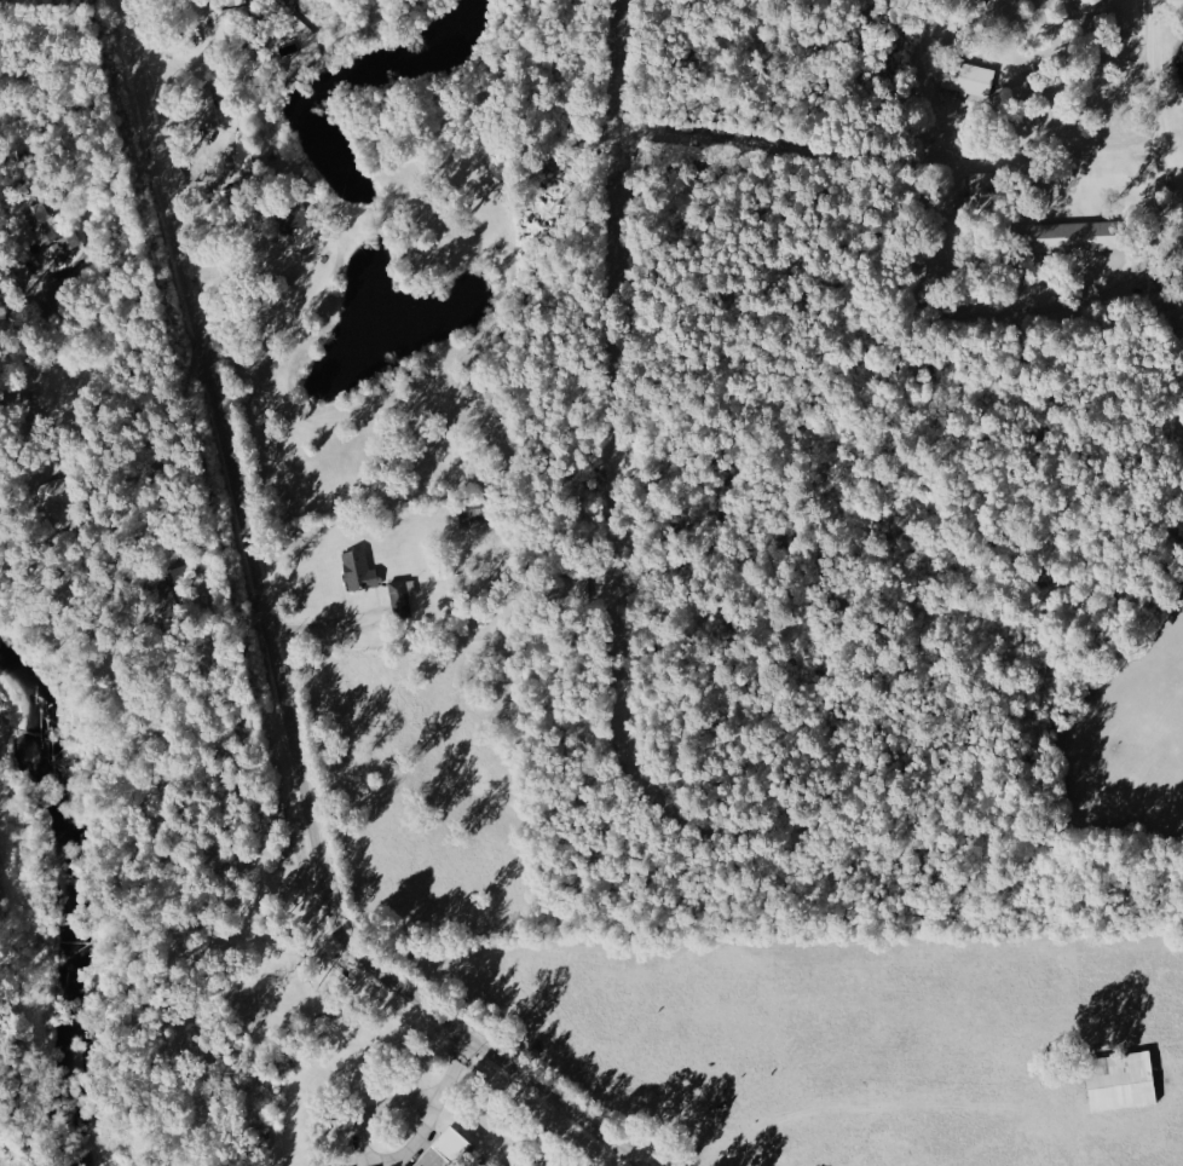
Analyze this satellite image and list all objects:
road: (73, 59)
road: (5, 71)
road: (5, 75)
building: (969, 81)
building: (209, 106)
road: (1154, 114)
road: (1060, 144)
building: (979, 195)
road: (83, 209)
building: (50, 235)
building: (1074, 237)
road: (163, 410)
building: (357, 570)
road: (328, 623)
road: (272, 652)
river: (74, 902)
building: (1119, 1081)
road: (429, 1118)
building: (443, 1150)

